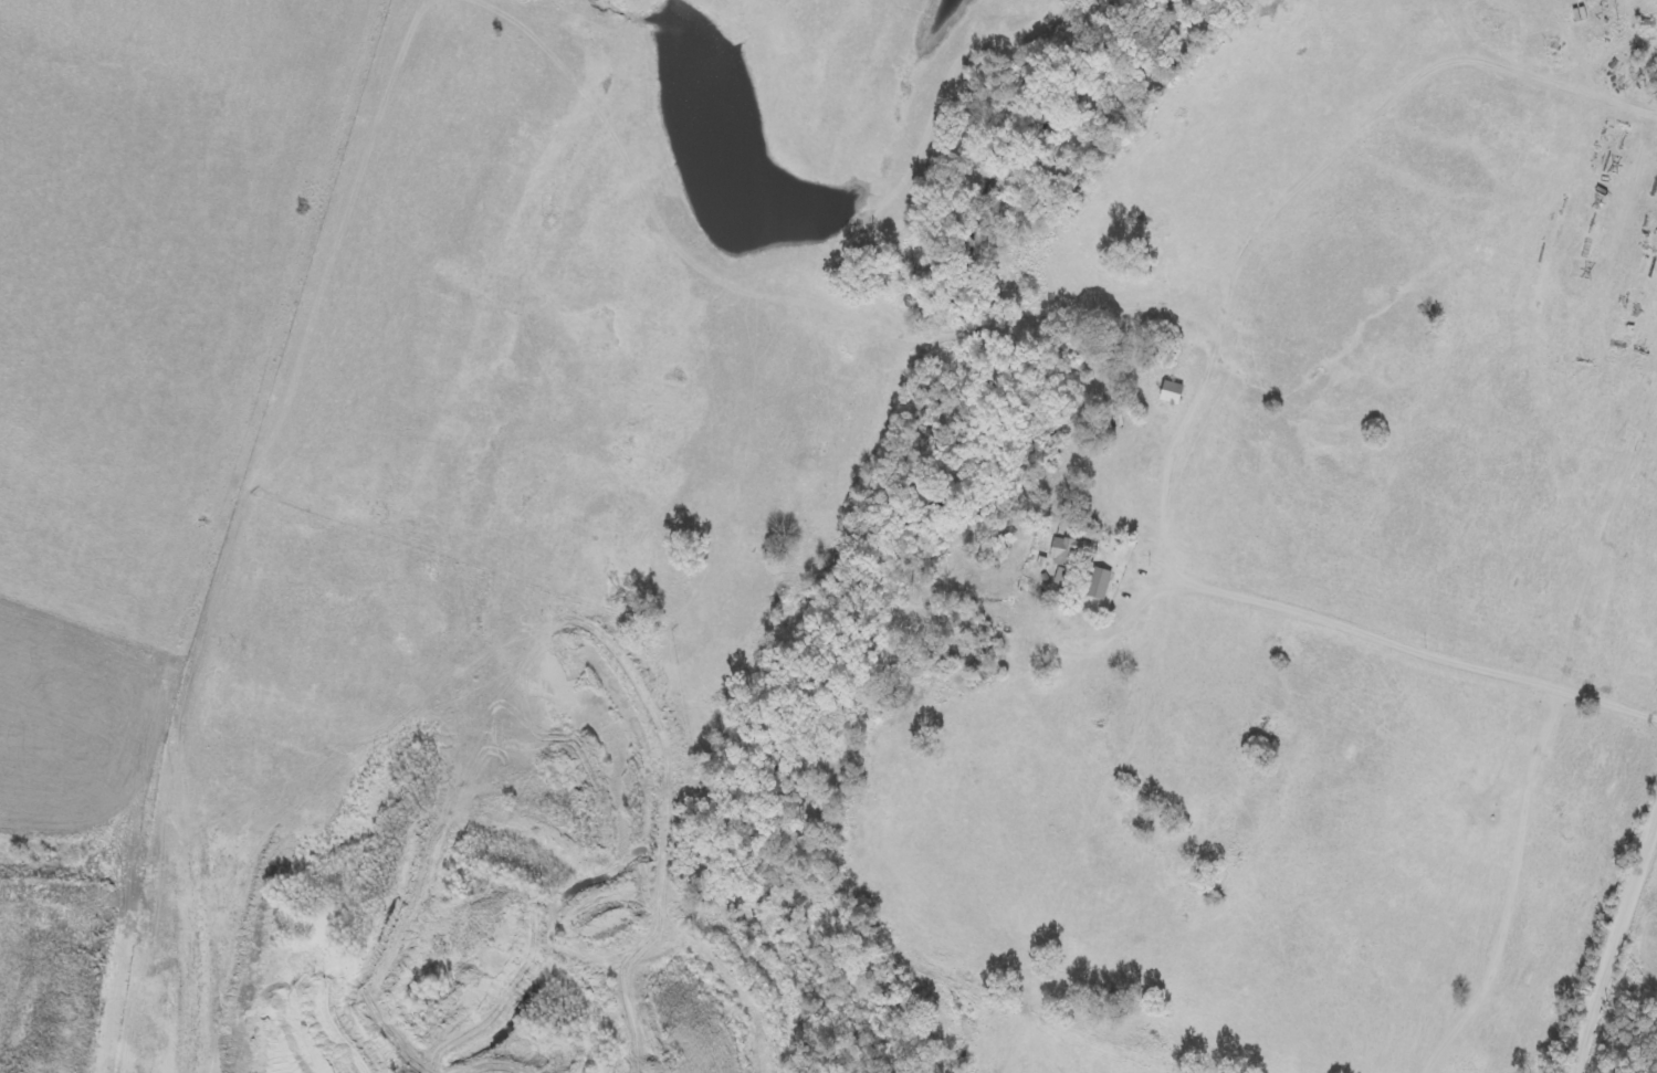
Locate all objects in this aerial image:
building: (1172, 395)
building: (1100, 585)
road: (1392, 648)
road: (1629, 988)

